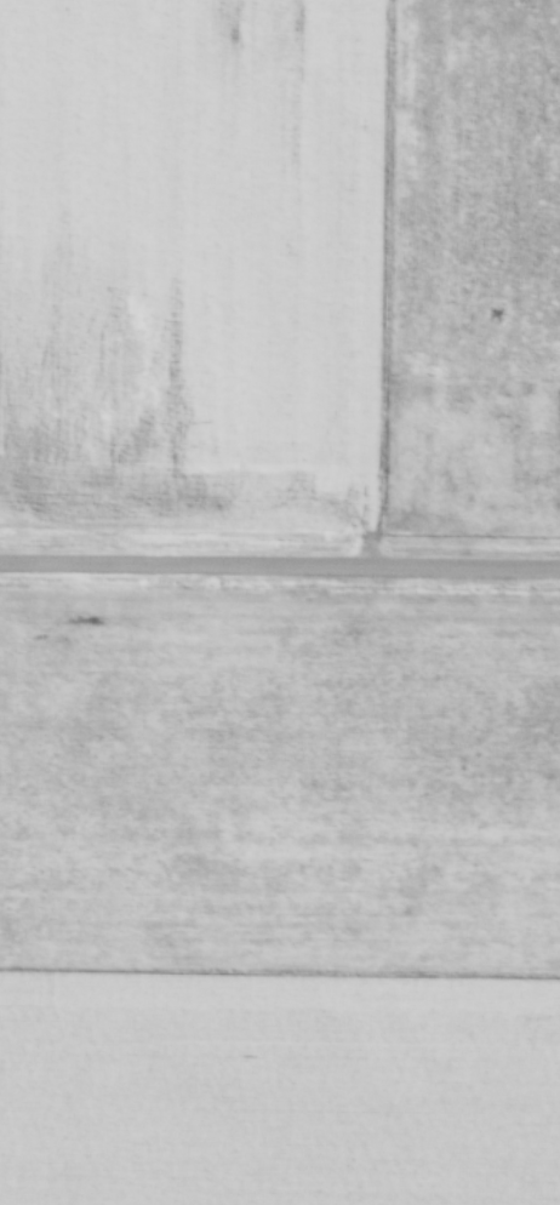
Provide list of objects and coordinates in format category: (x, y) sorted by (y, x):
road: (280, 562)

